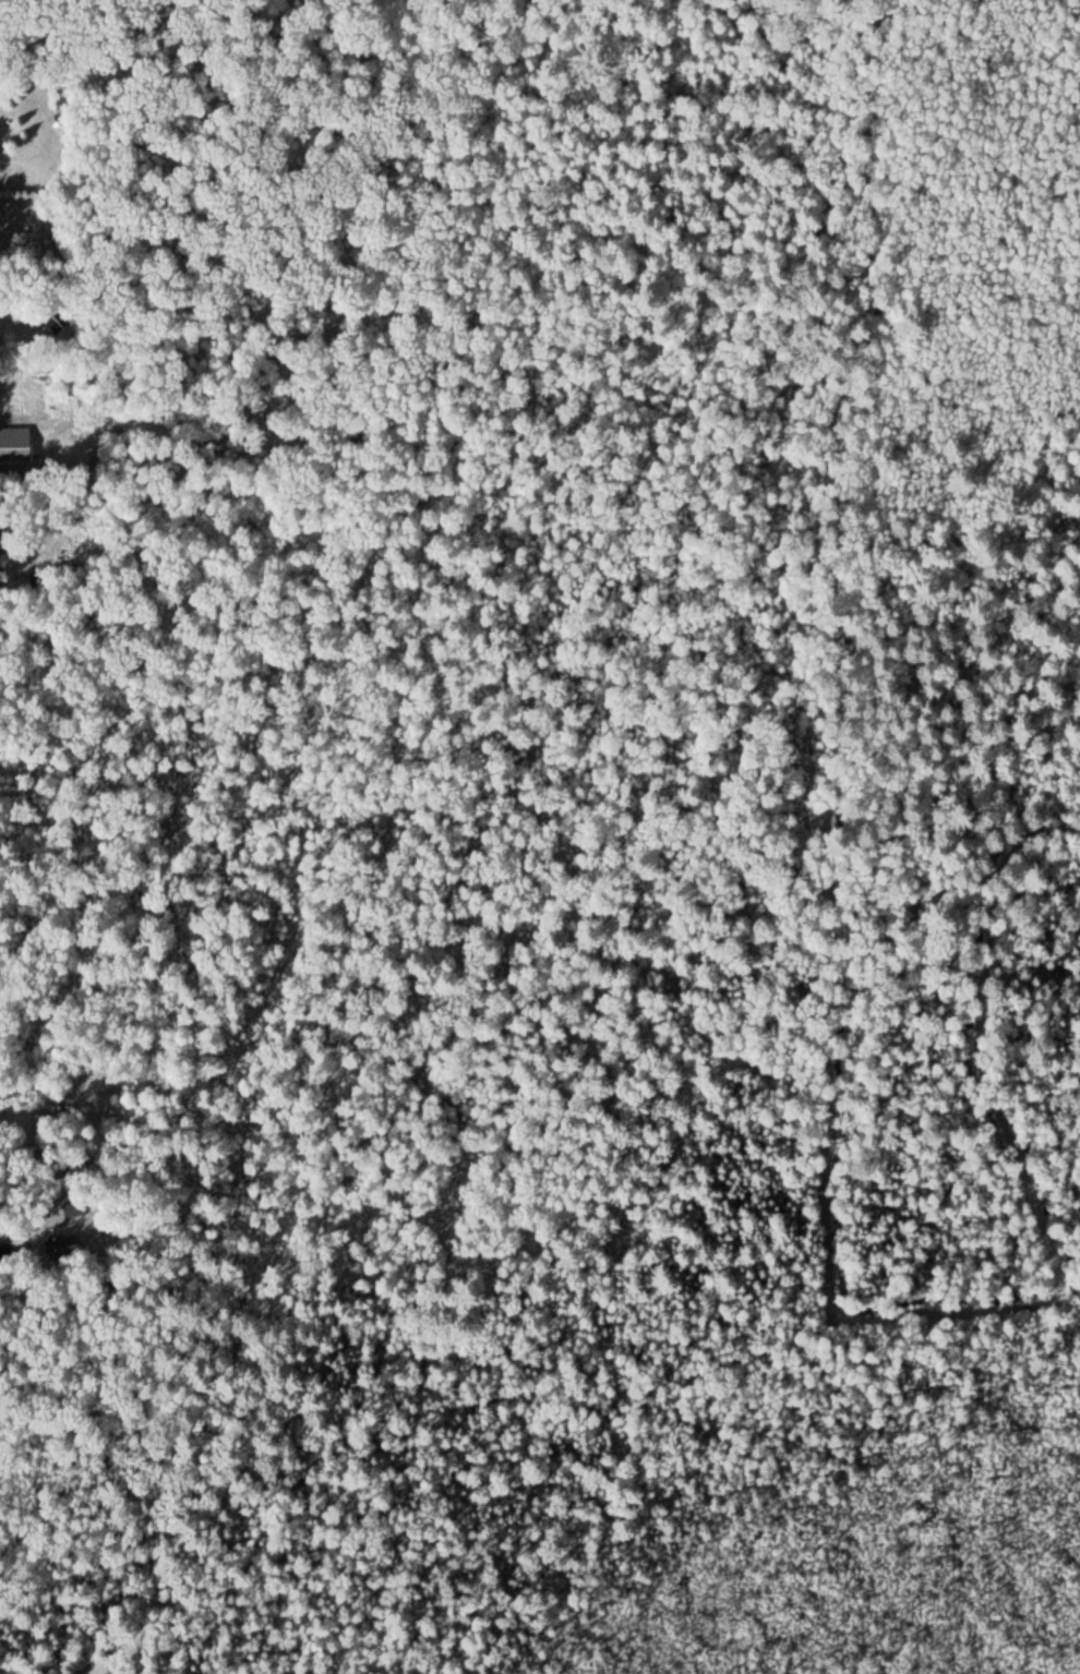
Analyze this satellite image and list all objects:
building: (0, 557)

